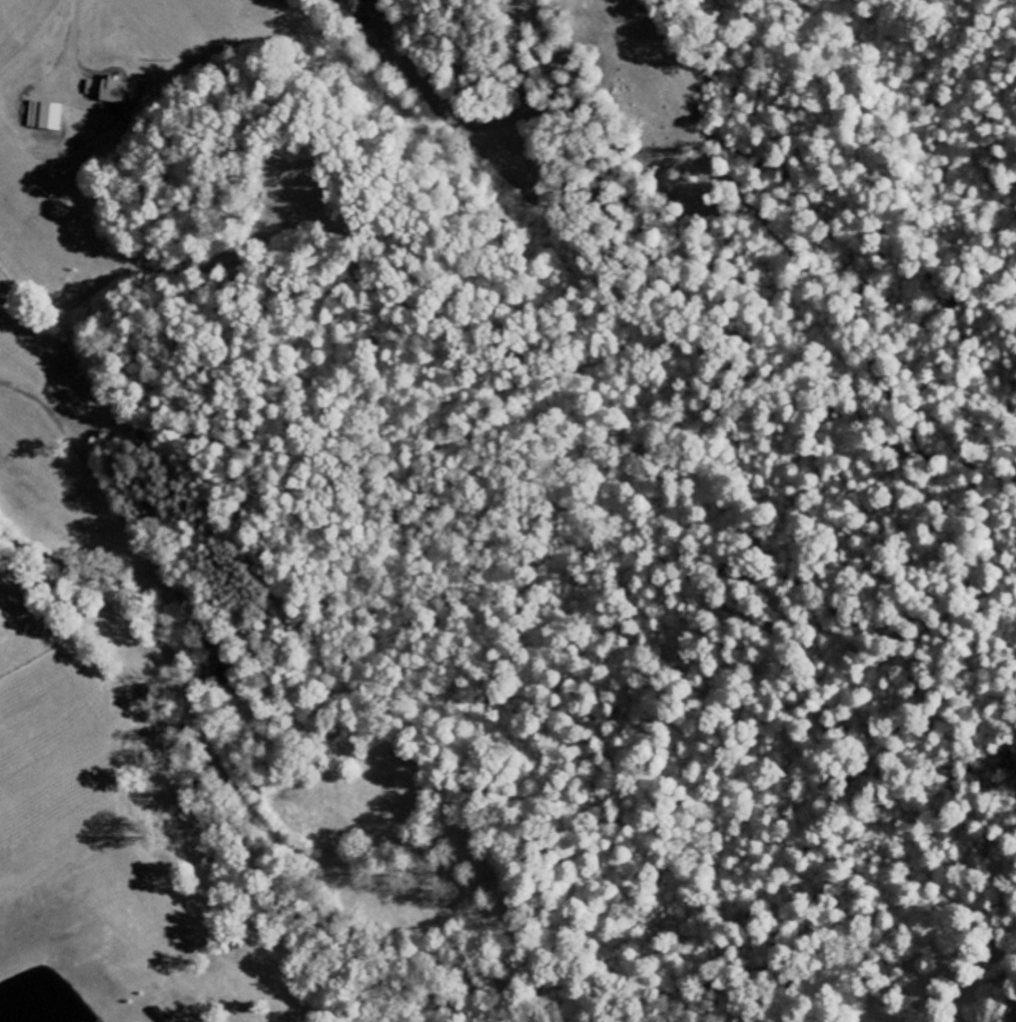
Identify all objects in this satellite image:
building: (350, 7)
building: (109, 92)
building: (45, 117)
road: (18, 959)

